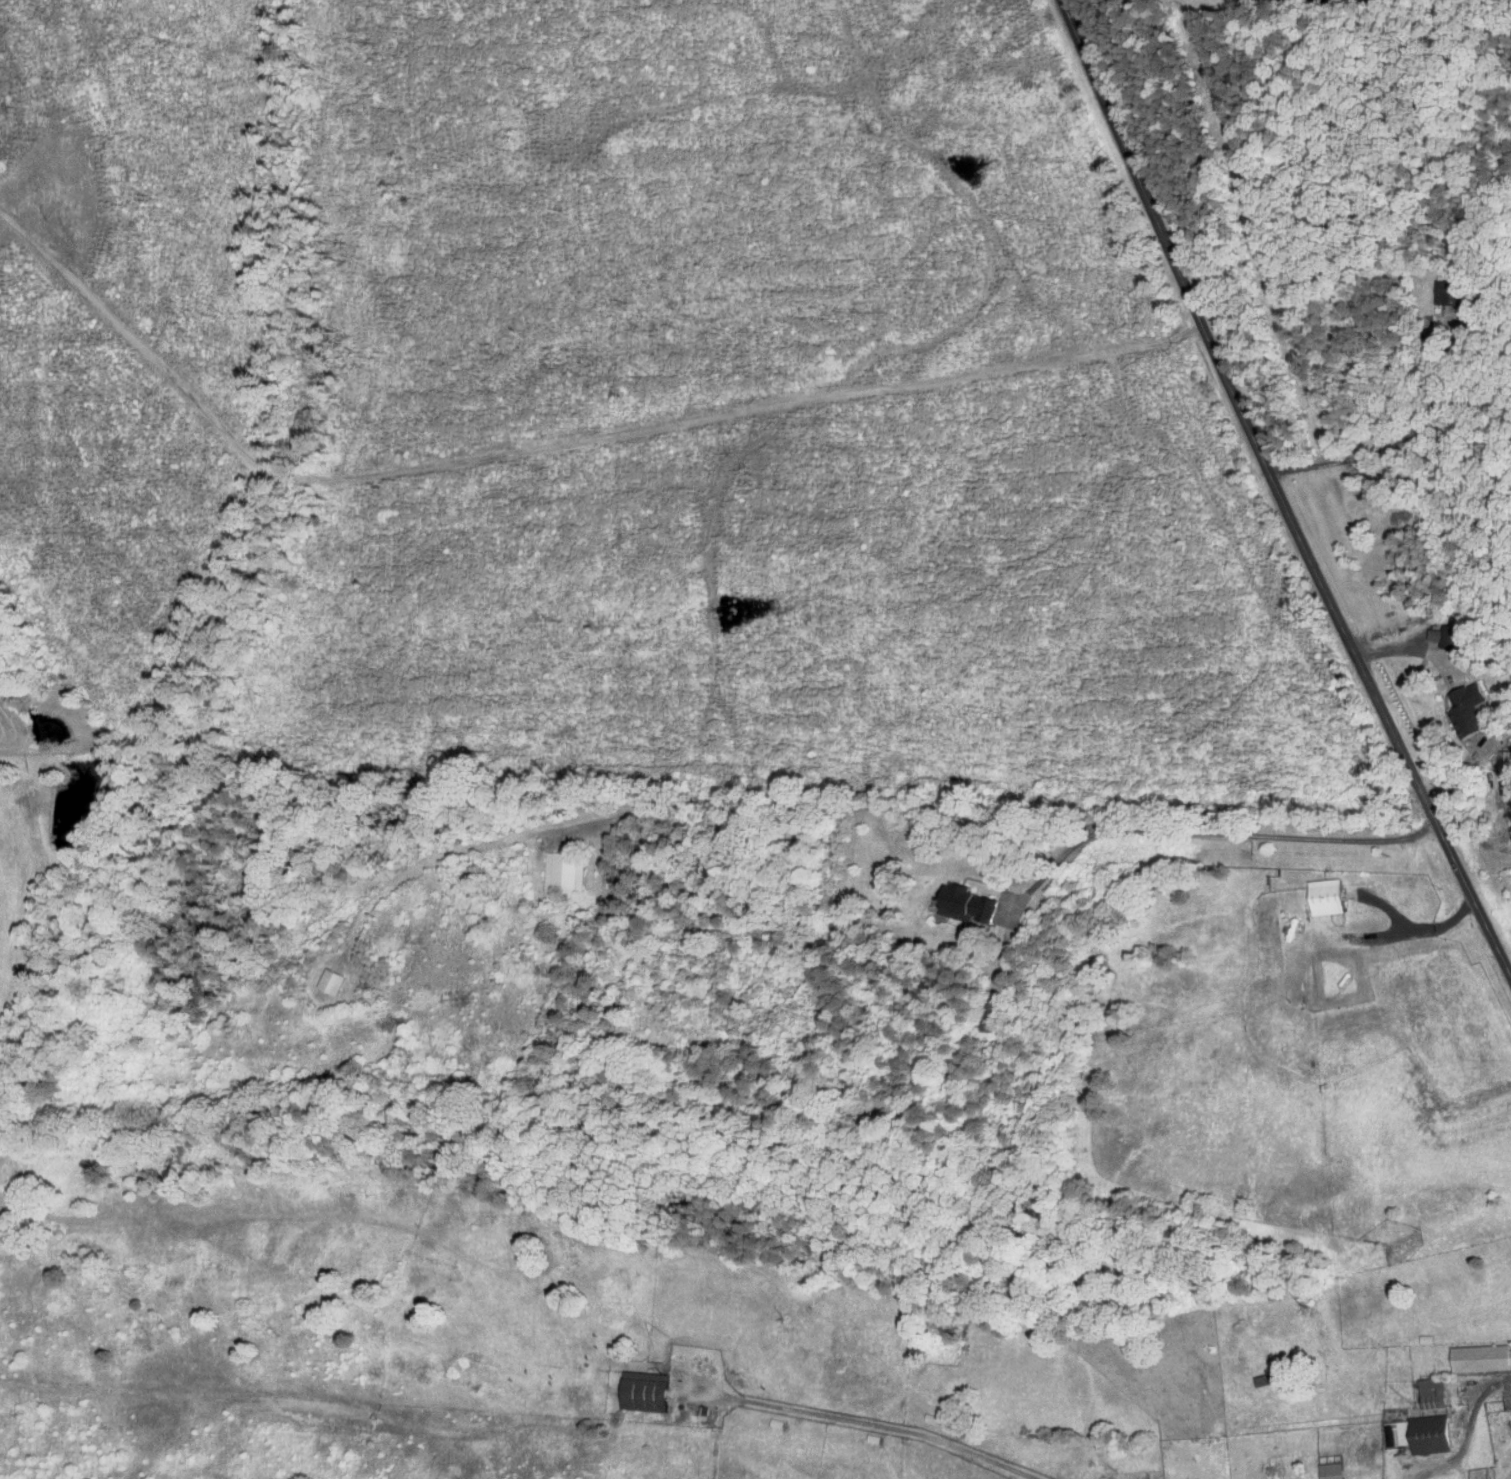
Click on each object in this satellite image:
building: (1447, 291)
road: (1389, 444)
road: (1276, 491)
building: (1446, 636)
road: (1435, 662)
building: (1466, 708)
road: (1222, 832)
building: (562, 872)
building: (1324, 896)
building: (964, 904)
road: (1415, 928)
building: (328, 981)
building: (988, 1015)
building: (1479, 1357)
building: (641, 1390)
building: (1430, 1393)
road: (869, 1422)
road: (1469, 1431)
building: (1417, 1433)
building: (1329, 1470)
building: (1196, 1478)

